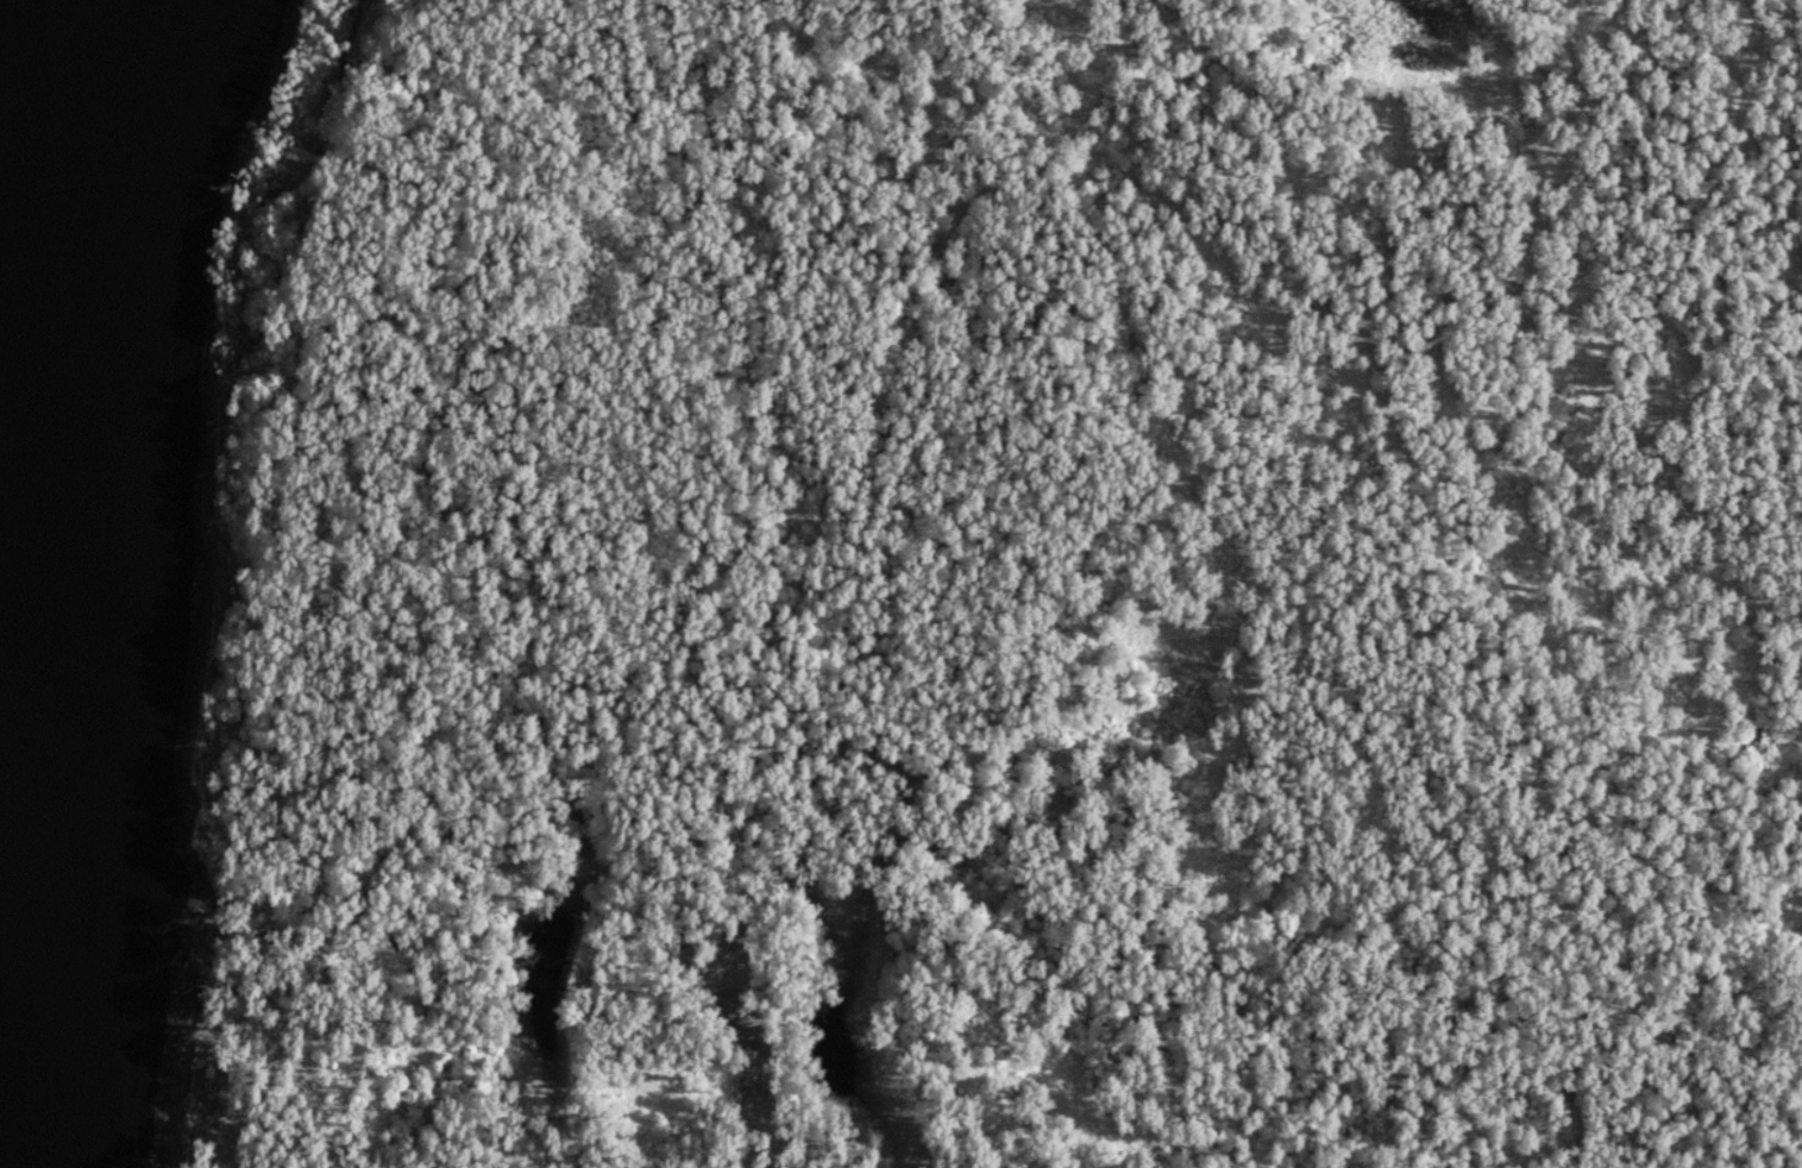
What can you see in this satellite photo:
river: (119, 295)

